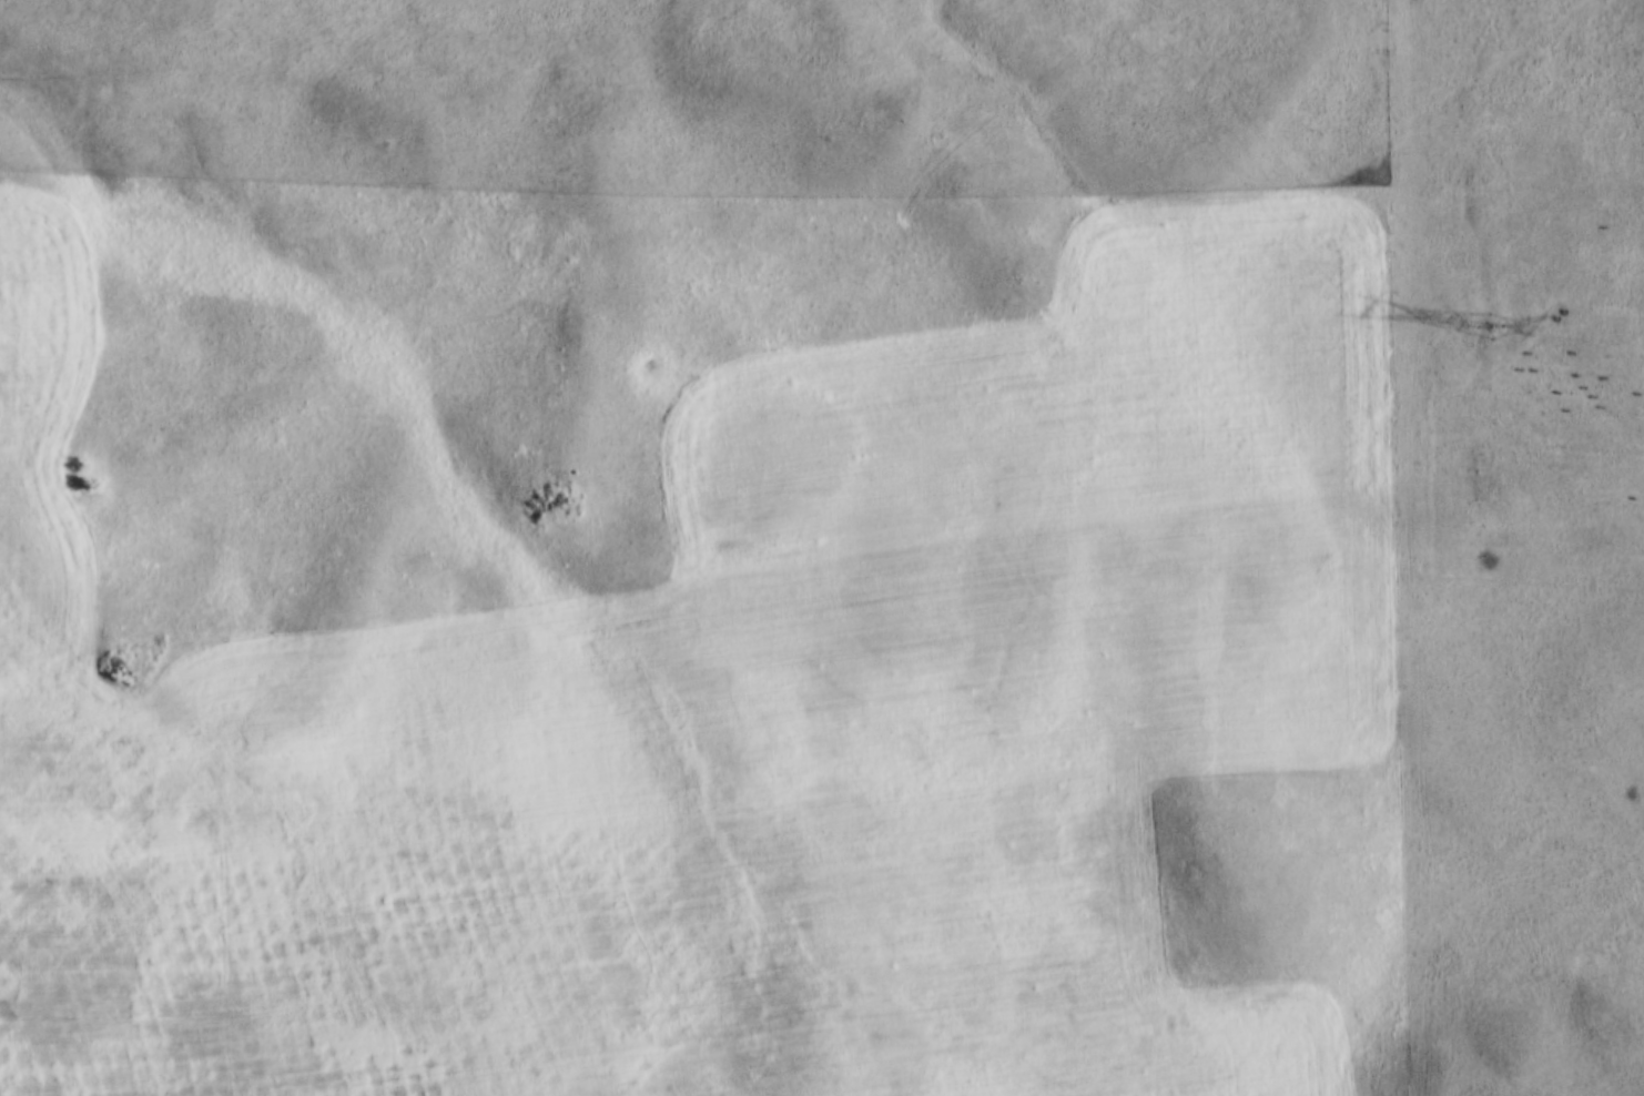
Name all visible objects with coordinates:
power tower: (1490, 329)

